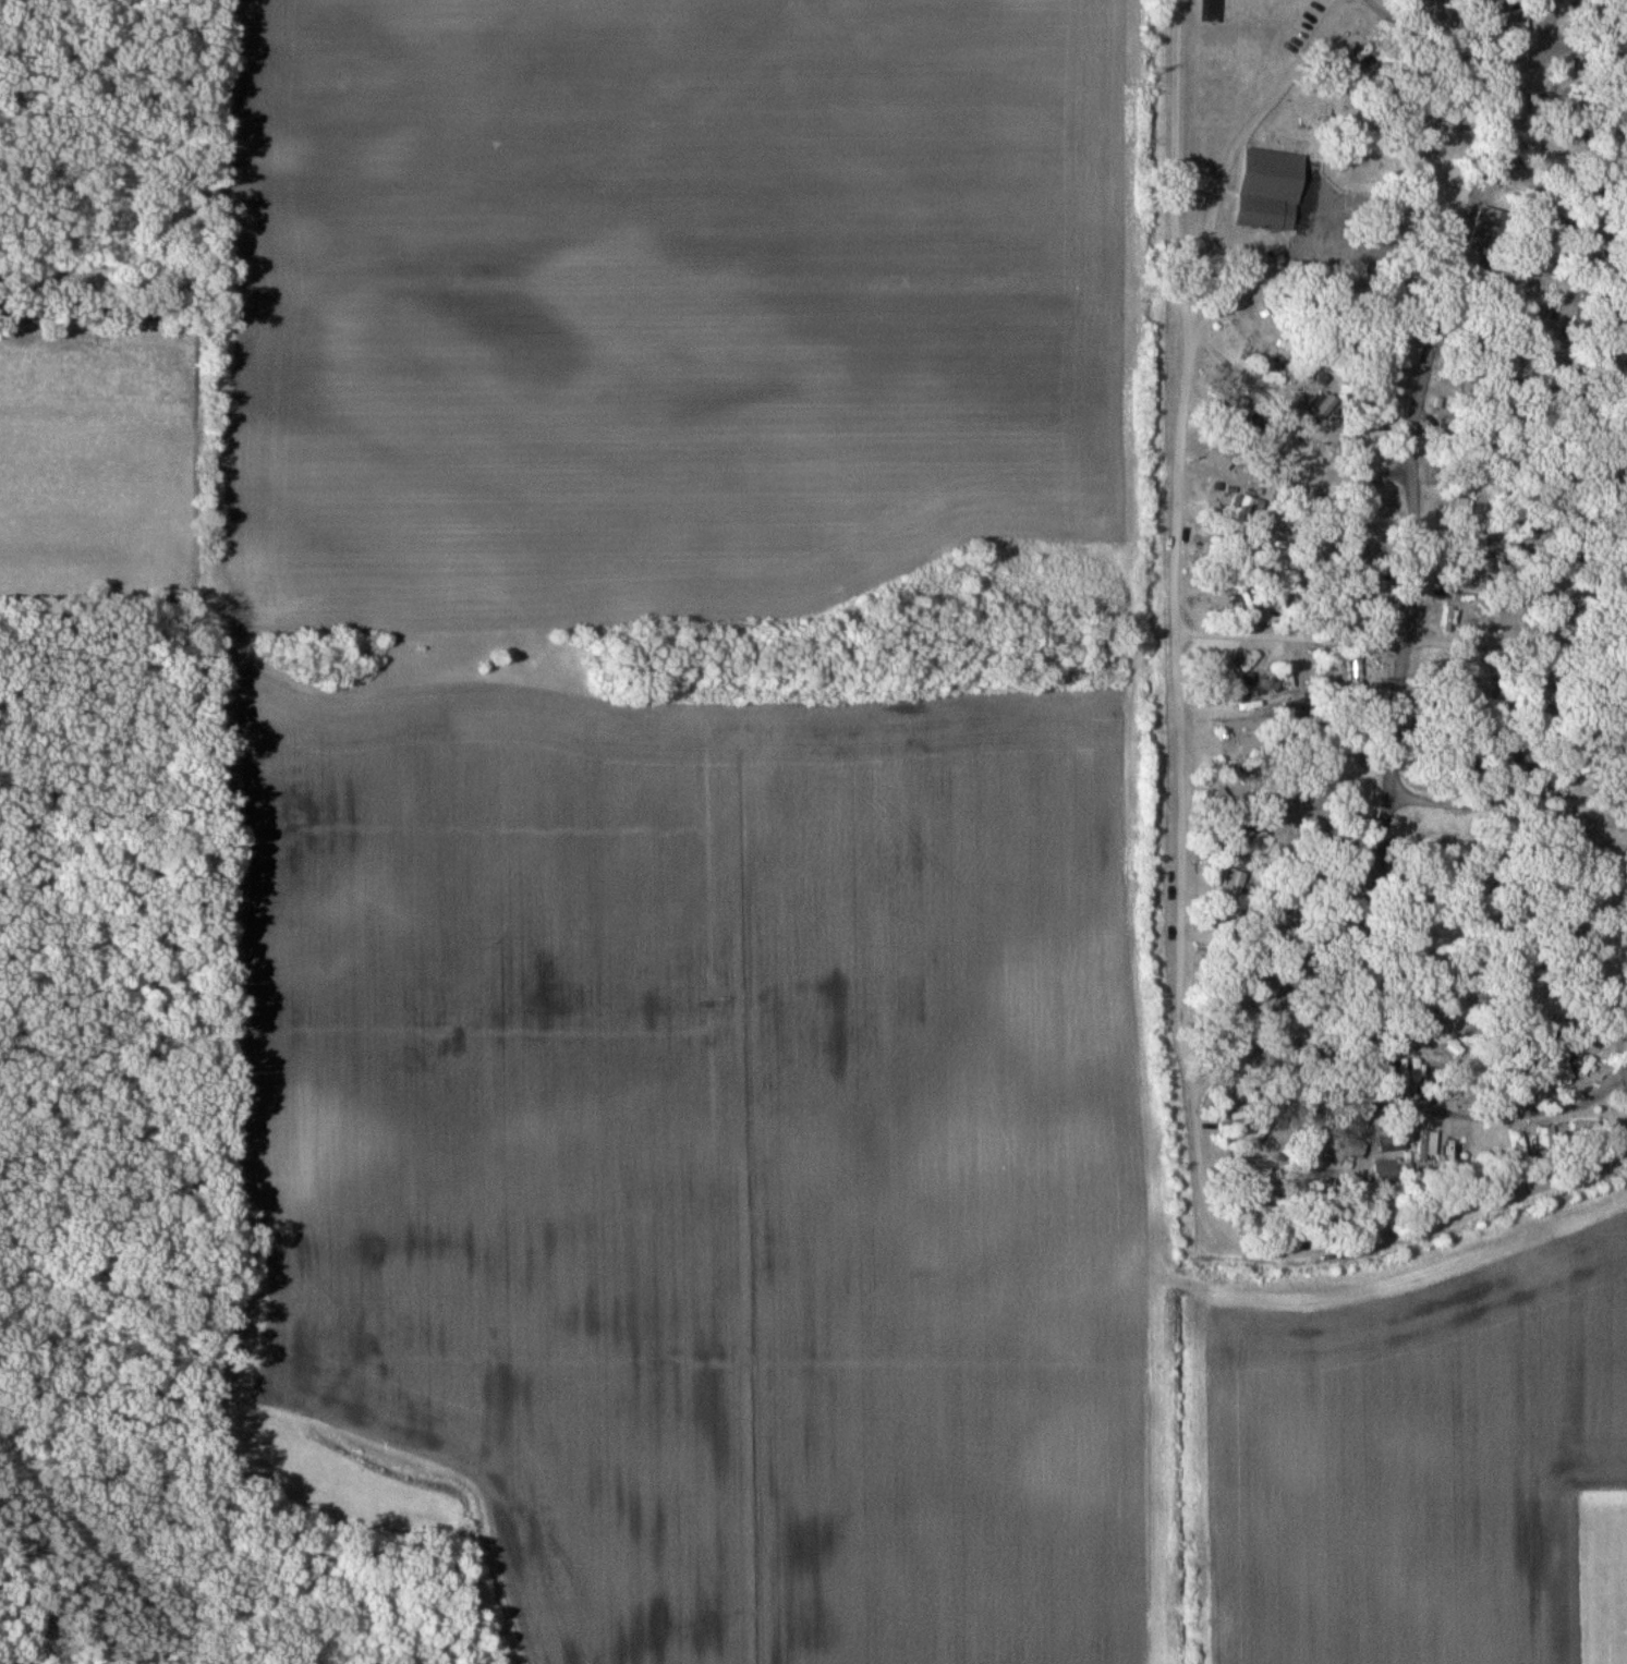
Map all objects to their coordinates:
building: (1351, 90)
building: (1268, 189)
building: (1481, 229)
building: (1217, 457)
building: (1594, 1069)
building: (1584, 1127)
building: (1549, 1134)
building: (1526, 1141)
building: (1347, 1151)
building: (1384, 1169)

